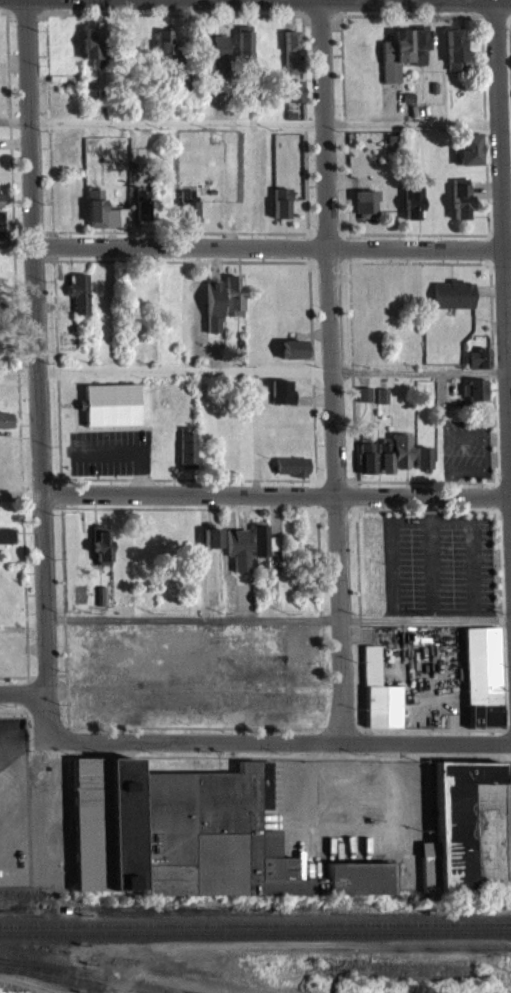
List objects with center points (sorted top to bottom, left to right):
road: (504, 8)
building: (243, 51)
building: (164, 52)
building: (91, 53)
building: (453, 53)
building: (289, 59)
building: (401, 60)
park: (509, 87)
building: (293, 98)
building: (467, 156)
building: (458, 205)
building: (410, 209)
building: (280, 210)
building: (365, 211)
building: (141, 212)
building: (187, 212)
building: (102, 219)
building: (1, 225)
building: (0, 245)
road: (271, 246)
road: (504, 266)
building: (78, 300)
road: (17, 301)
building: (232, 302)
building: (451, 302)
building: (294, 356)
building: (477, 365)
road: (36, 366)
road: (332, 370)
road: (419, 379)
road: (509, 382)
building: (473, 397)
building: (280, 399)
building: (362, 401)
building: (380, 403)
building: (110, 412)
building: (5, 427)
building: (186, 456)
building: (392, 460)
building: (364, 465)
building: (421, 465)
building: (291, 474)
road: (276, 493)
road: (21, 494)
building: (6, 543)
building: (211, 545)
building: (262, 551)
building: (100, 552)
building: (98, 606)
road: (194, 618)
building: (481, 684)
road: (23, 694)
building: (377, 702)
road: (279, 739)
building: (465, 836)
building: (175, 839)
building: (358, 885)
railway: (255, 922)
railway: (255, 933)
railway: (94, 974)
railway: (71, 979)
railway: (181, 991)

